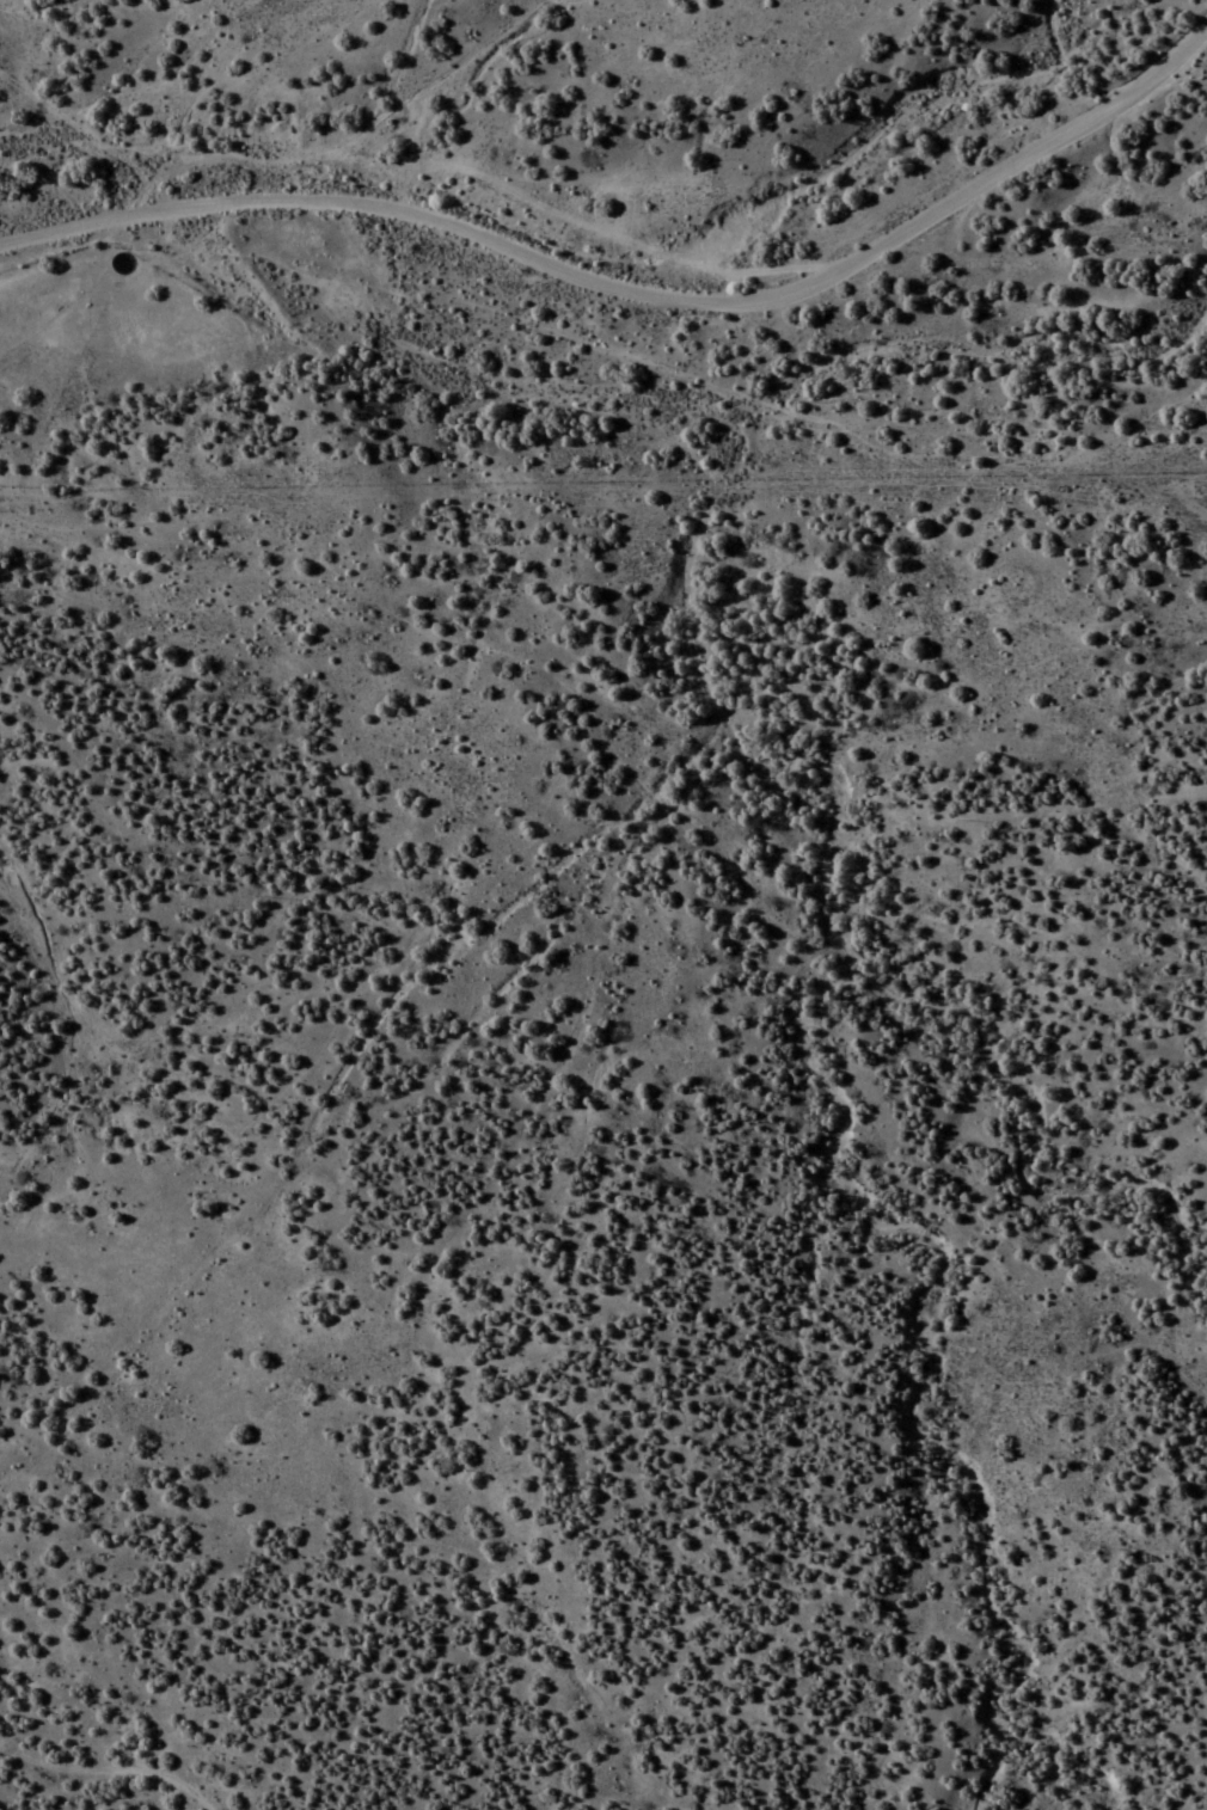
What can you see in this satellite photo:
road: (633, 292)

